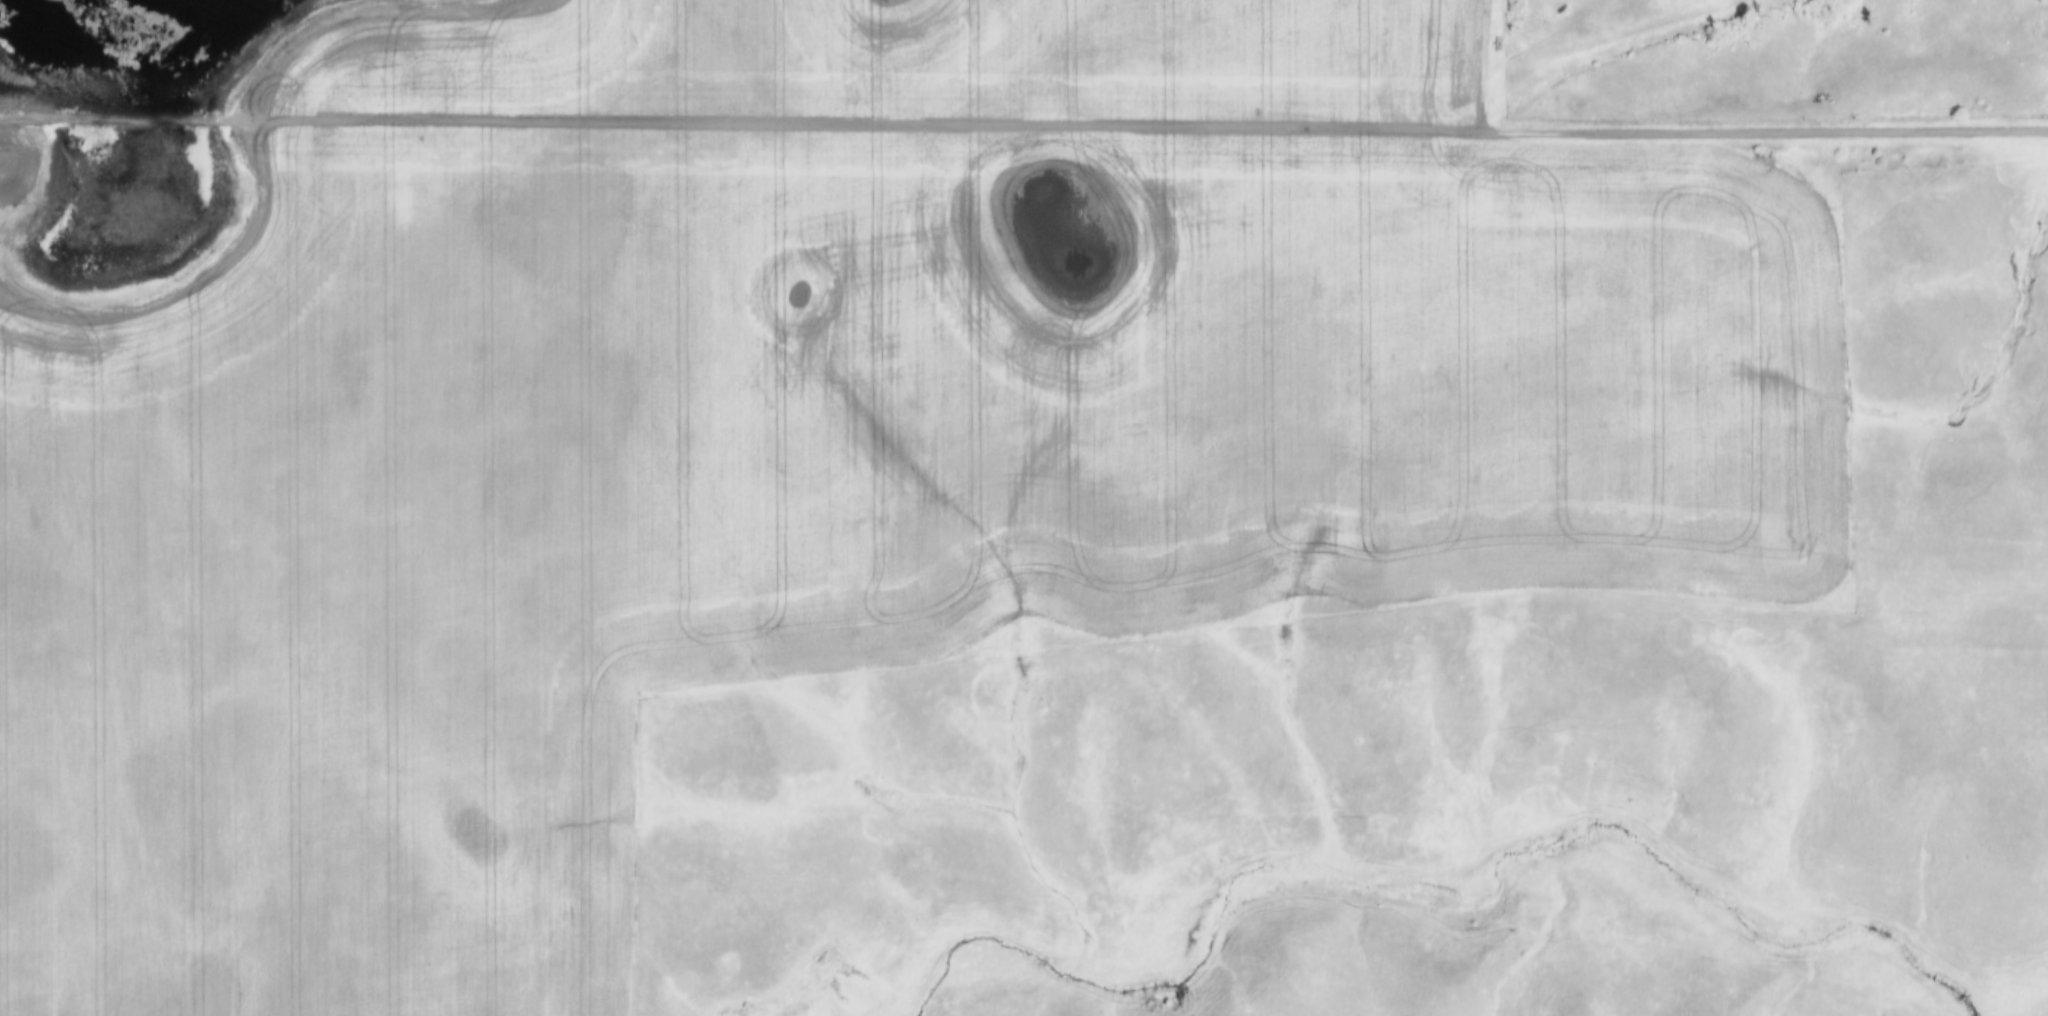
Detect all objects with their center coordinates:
road: (1580, 43)
road: (1023, 124)

